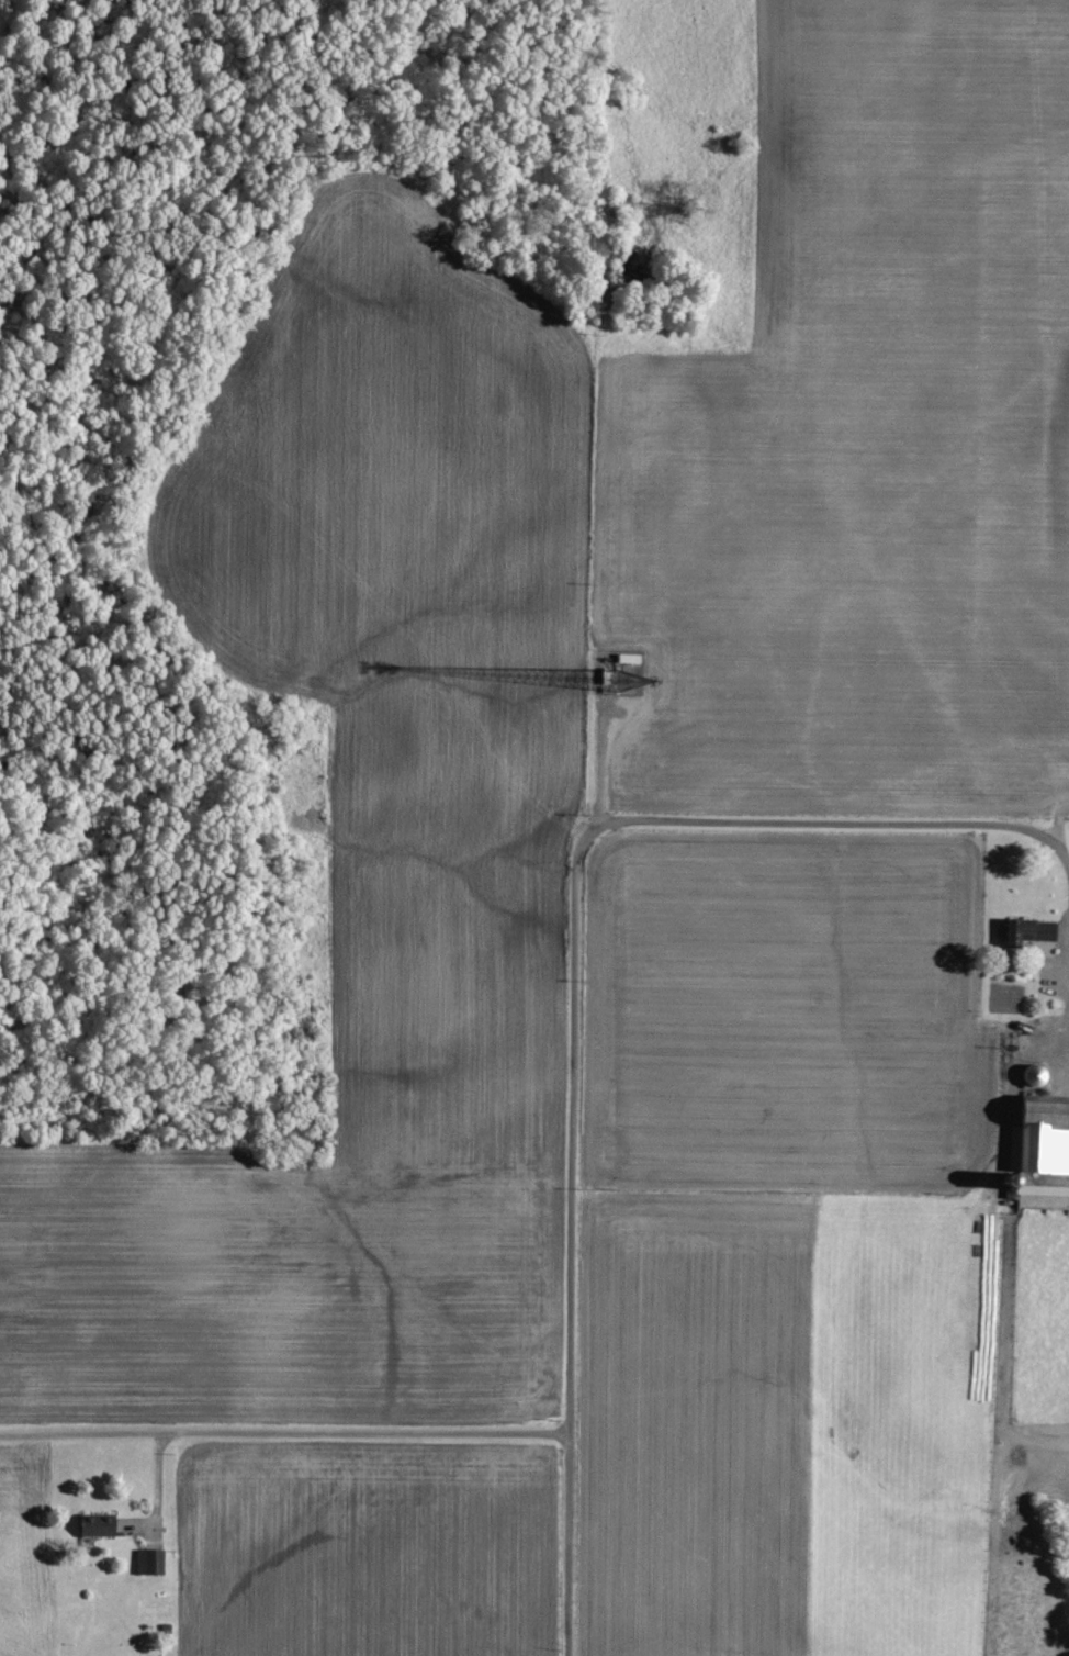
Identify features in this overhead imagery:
building: (621, 670)
road: (803, 818)
road: (1059, 847)
building: (1035, 933)
road: (1068, 1056)
building: (1037, 1072)
building: (1043, 1134)
road: (567, 1274)
road: (283, 1430)
road: (158, 1466)
building: (101, 1522)
building: (151, 1558)

